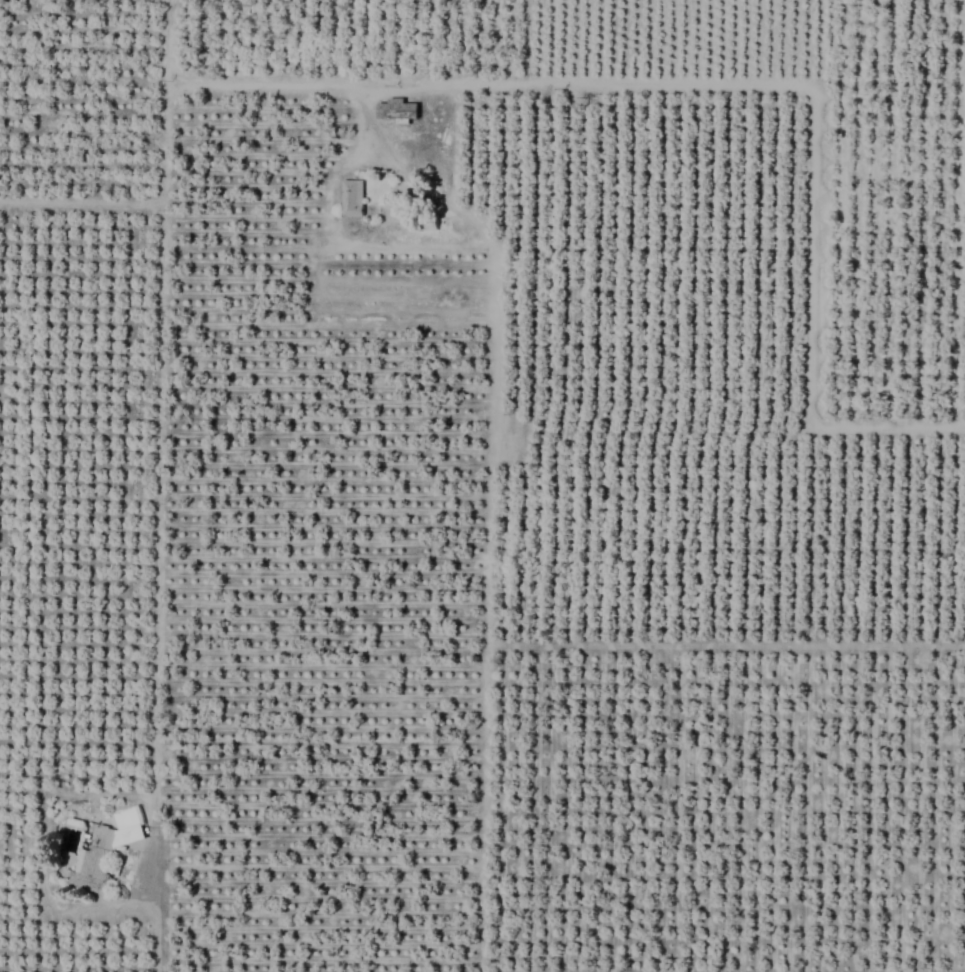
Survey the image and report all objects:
road: (453, 77)
building: (396, 111)
building: (352, 198)
road: (151, 212)
building: (428, 224)
road: (488, 445)
crop: (482, 486)
road: (156, 593)
building: (105, 851)

